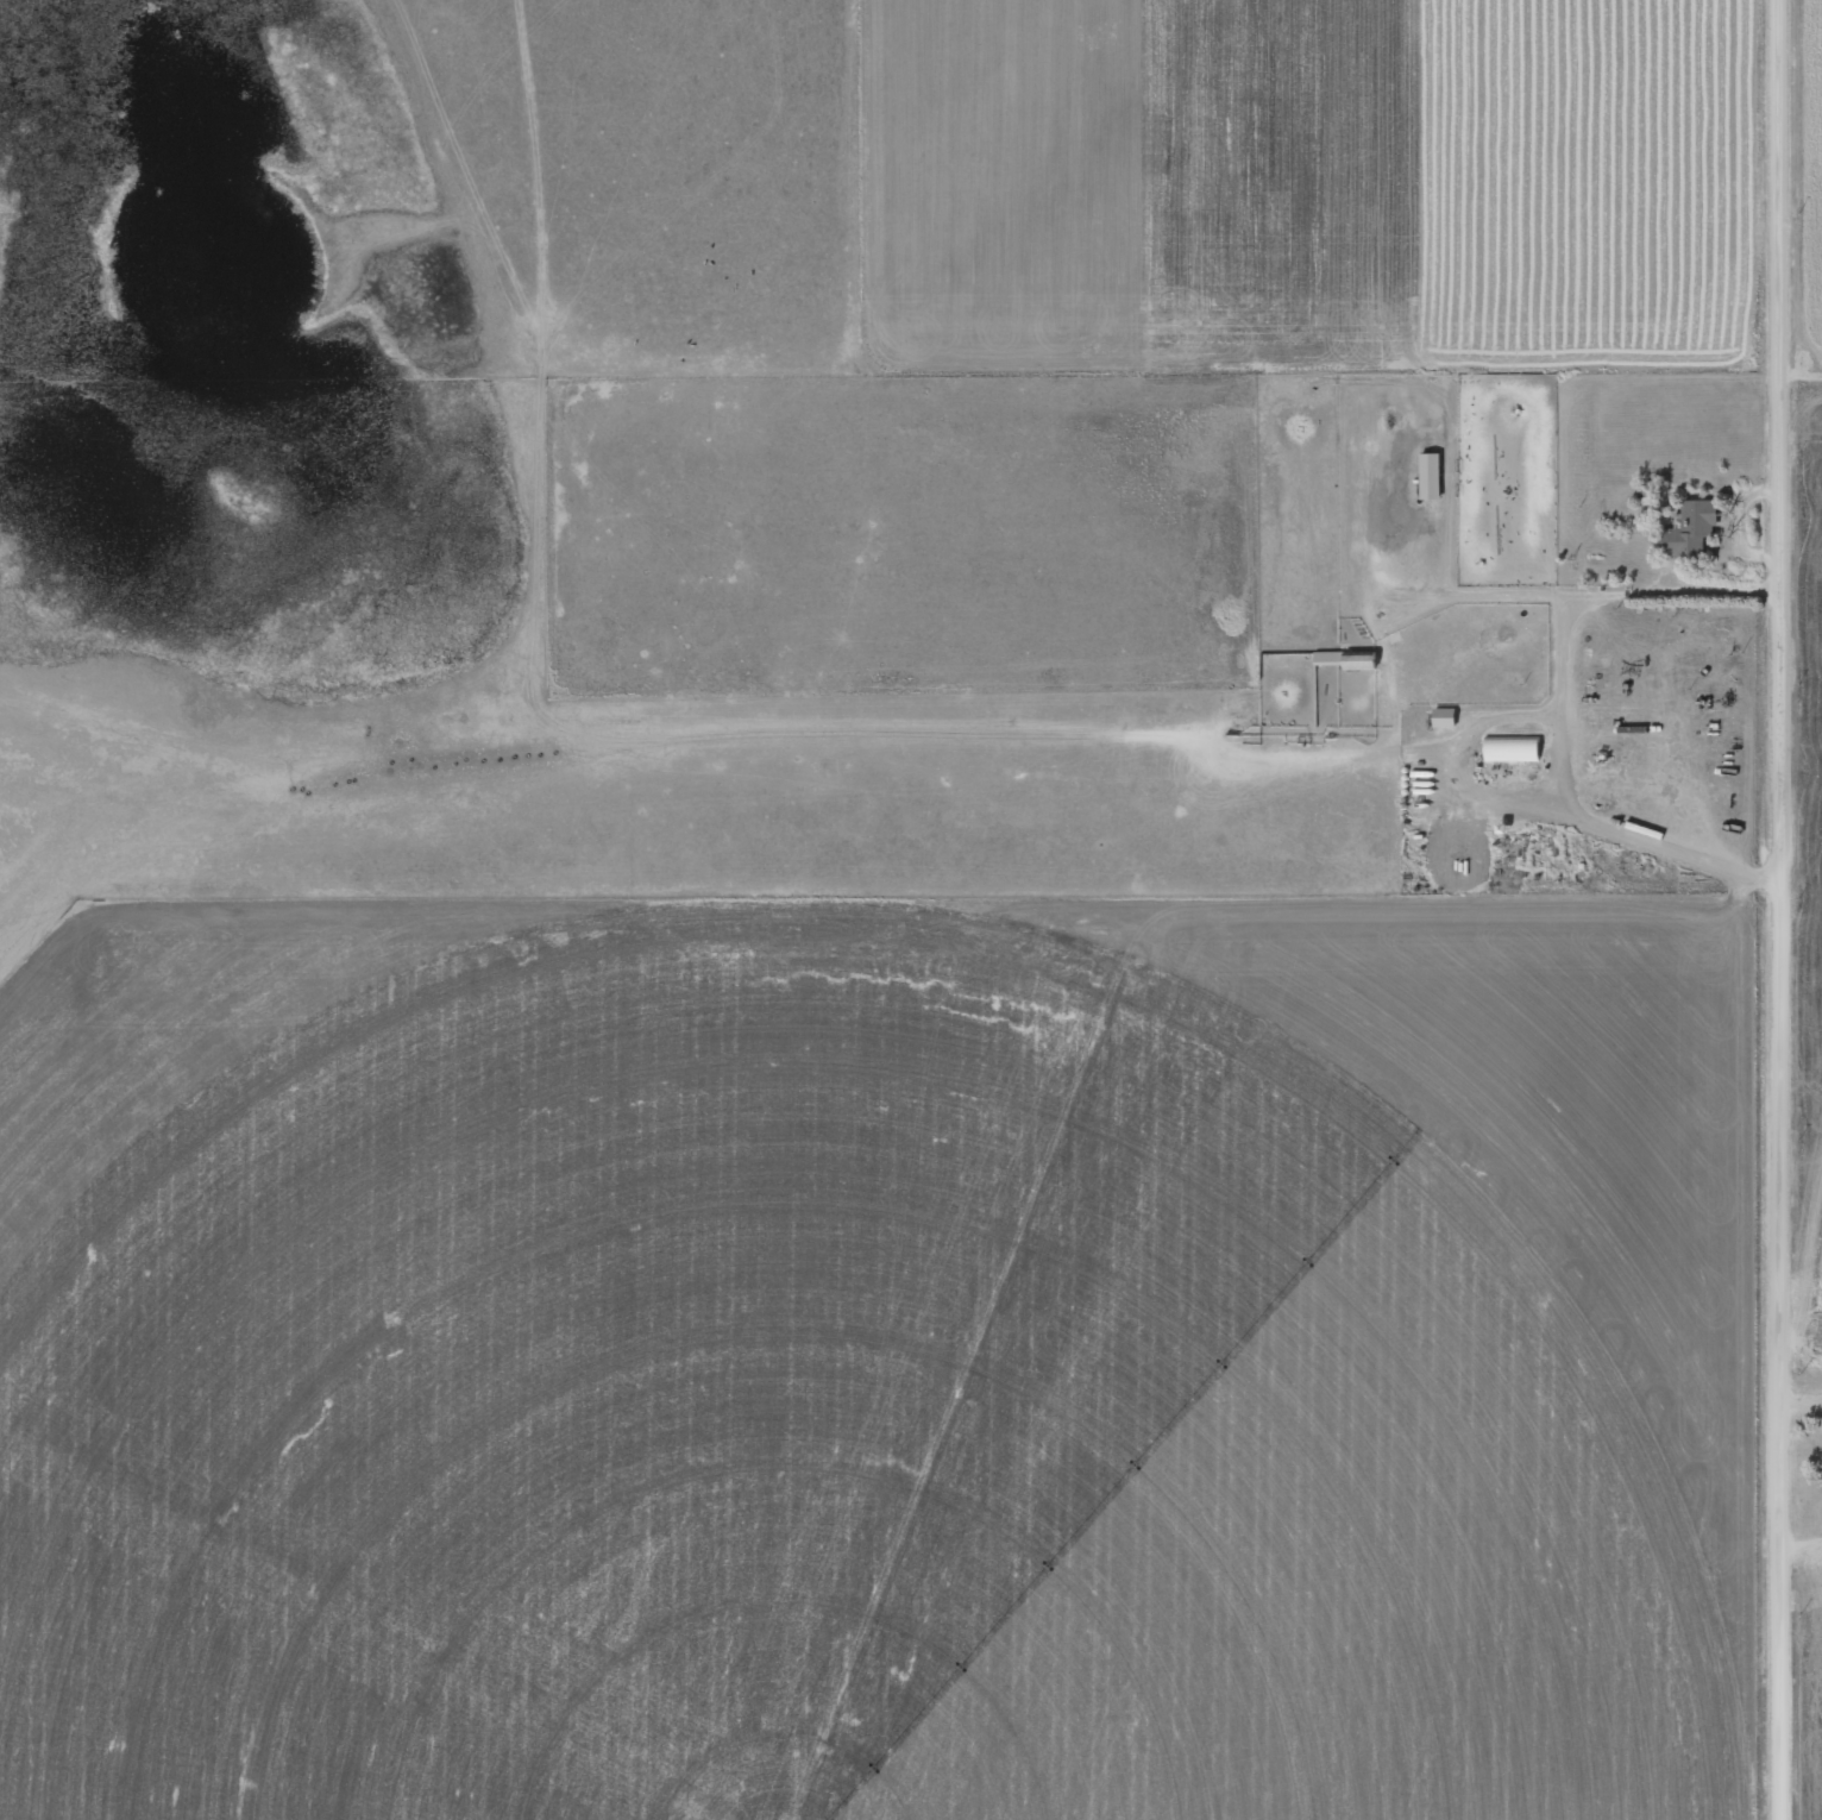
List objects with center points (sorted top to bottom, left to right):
building: (1432, 475)
building: (1689, 528)
road: (1803, 559)
building: (1445, 717)
building: (1513, 748)
road: (1784, 909)
building: (1821, 1455)

